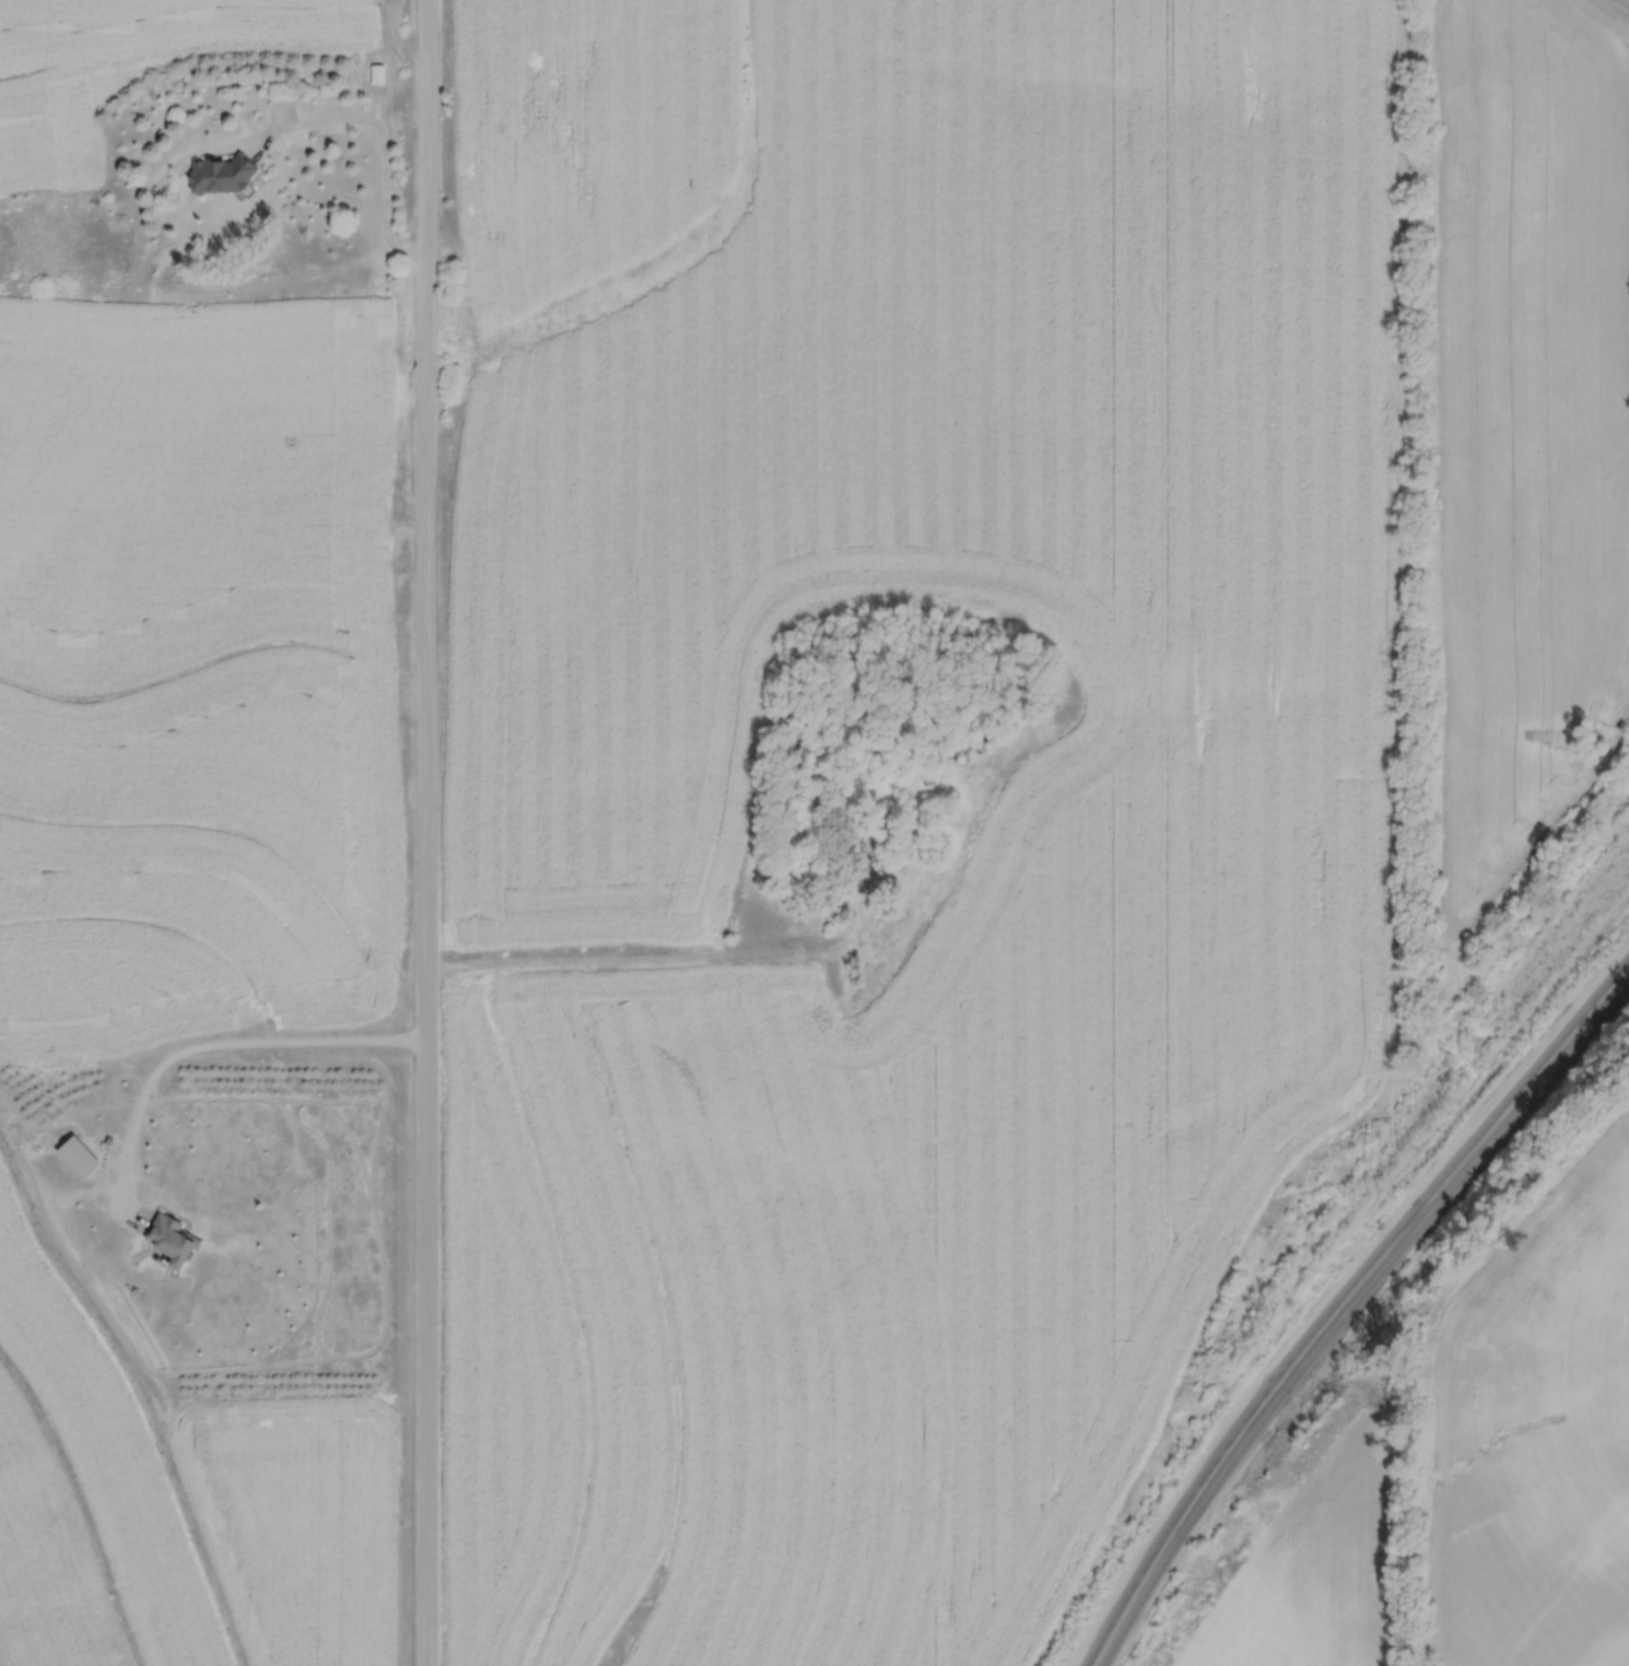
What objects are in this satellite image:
building: (377, 74)
road: (385, 140)
building: (221, 176)
road: (425, 832)
road: (624, 958)
road: (219, 1039)
building: (168, 1243)
railway: (1340, 1303)
railway: (1349, 1314)

